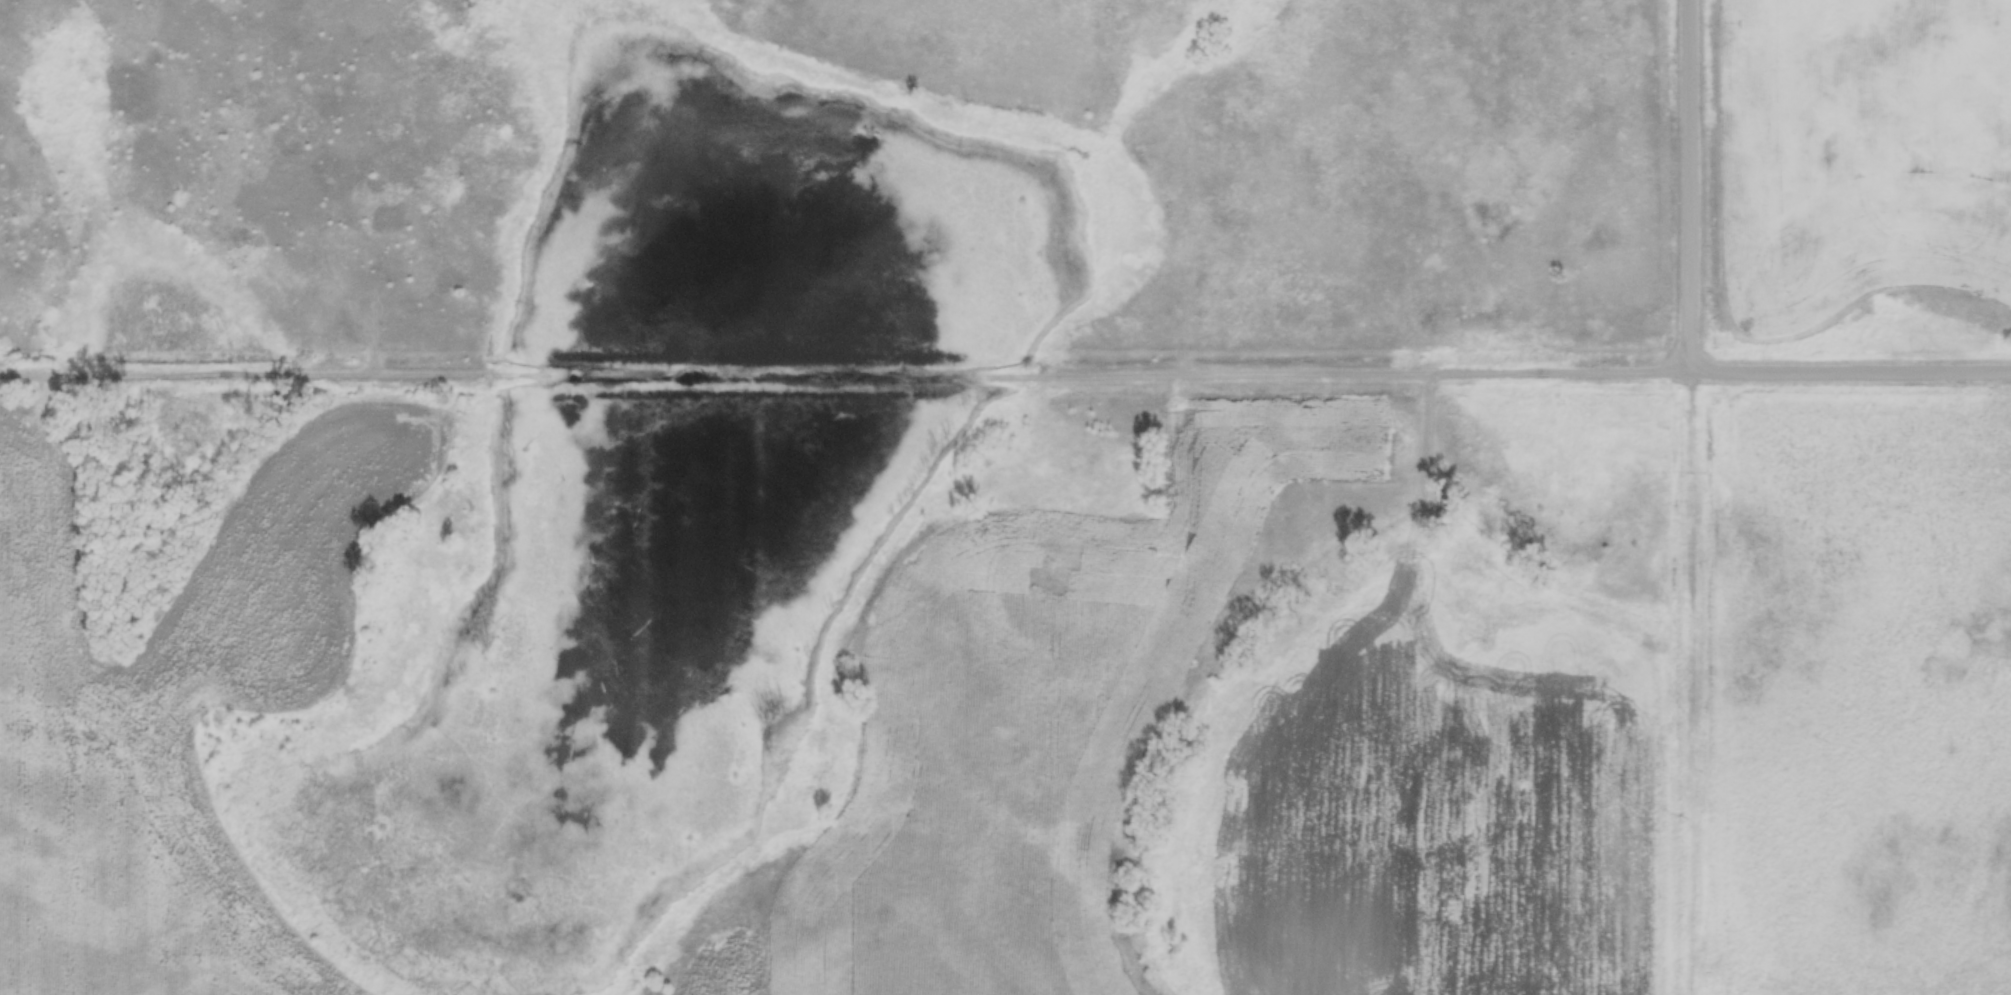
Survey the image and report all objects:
road: (1689, 188)
road: (1005, 379)

